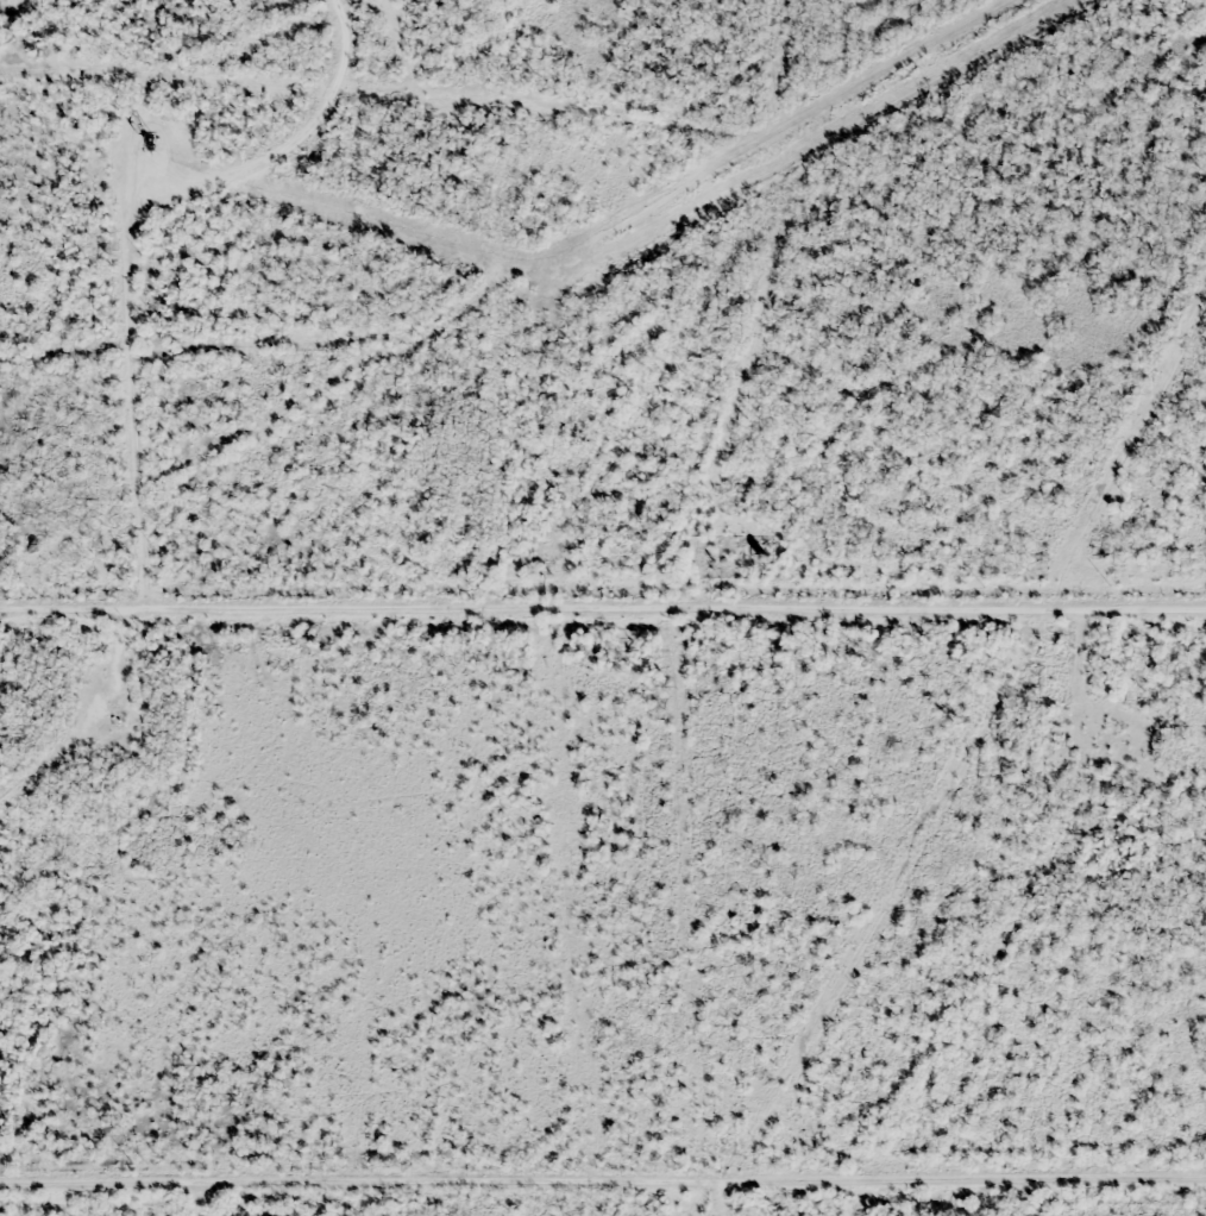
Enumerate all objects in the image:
road: (602, 606)
road: (603, 1195)

